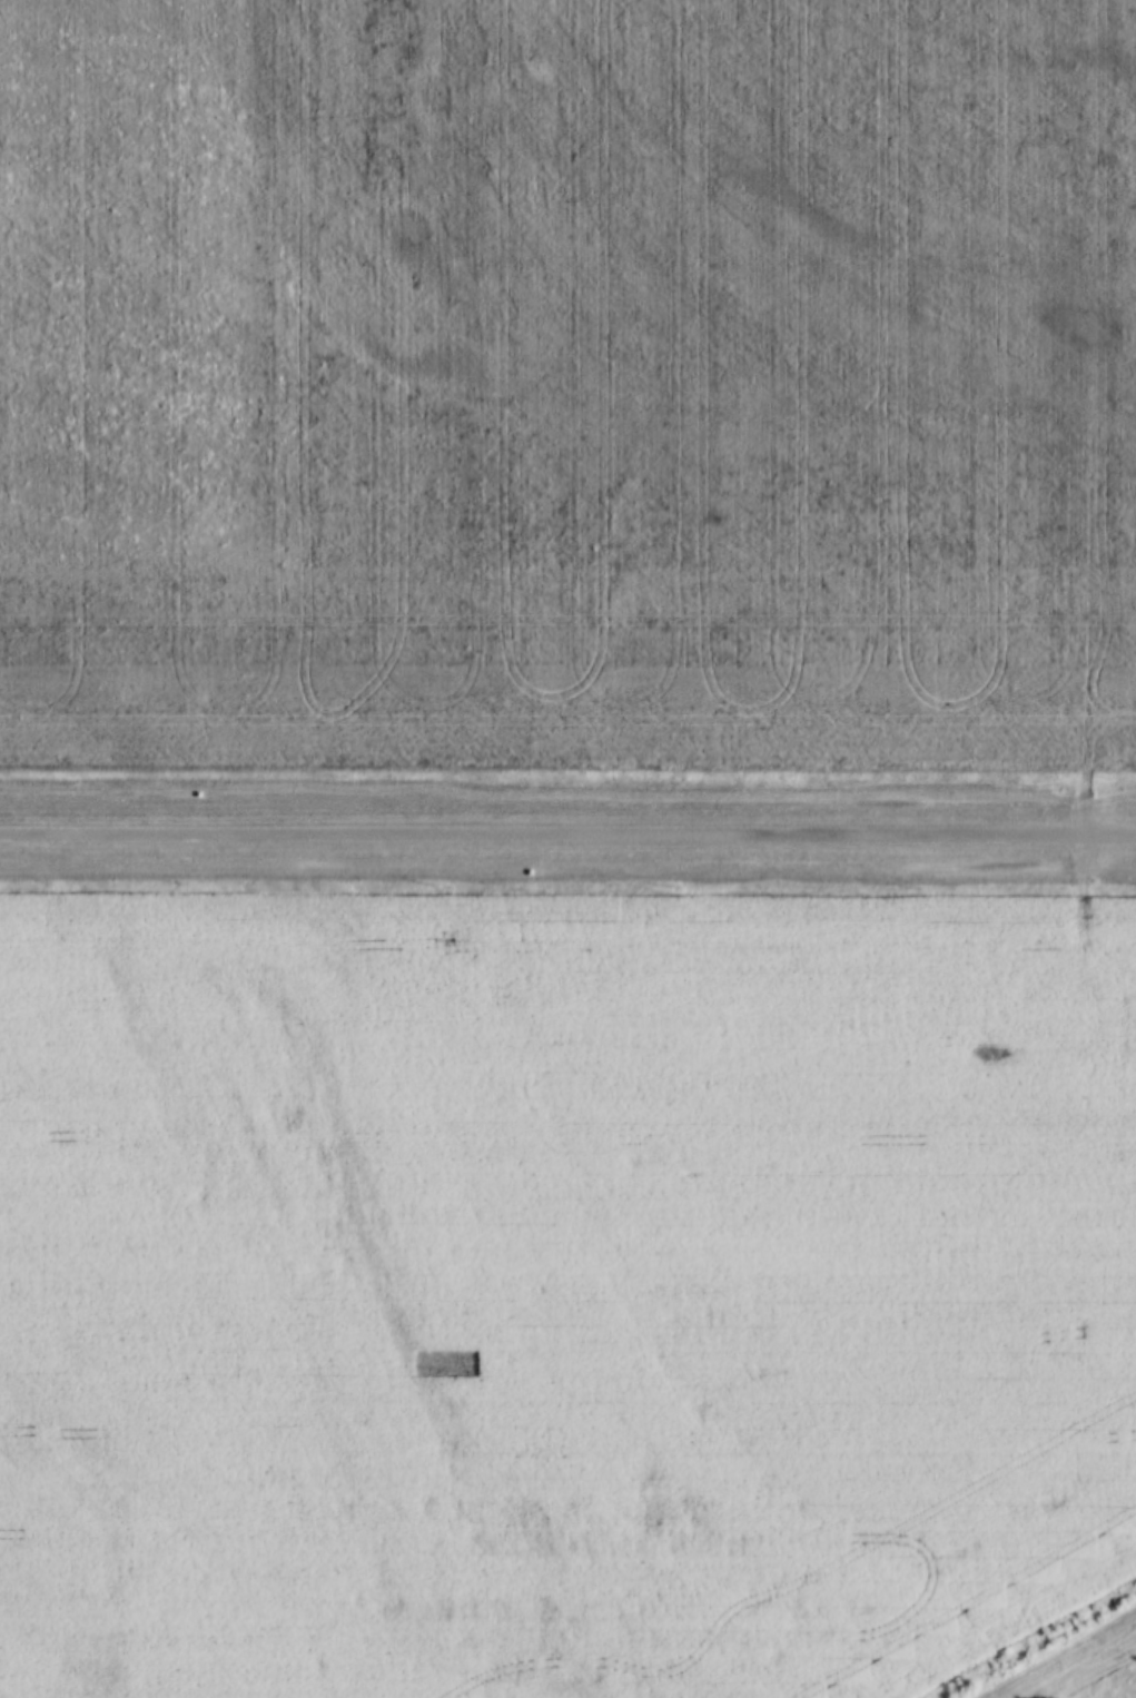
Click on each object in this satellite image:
road: (567, 829)

